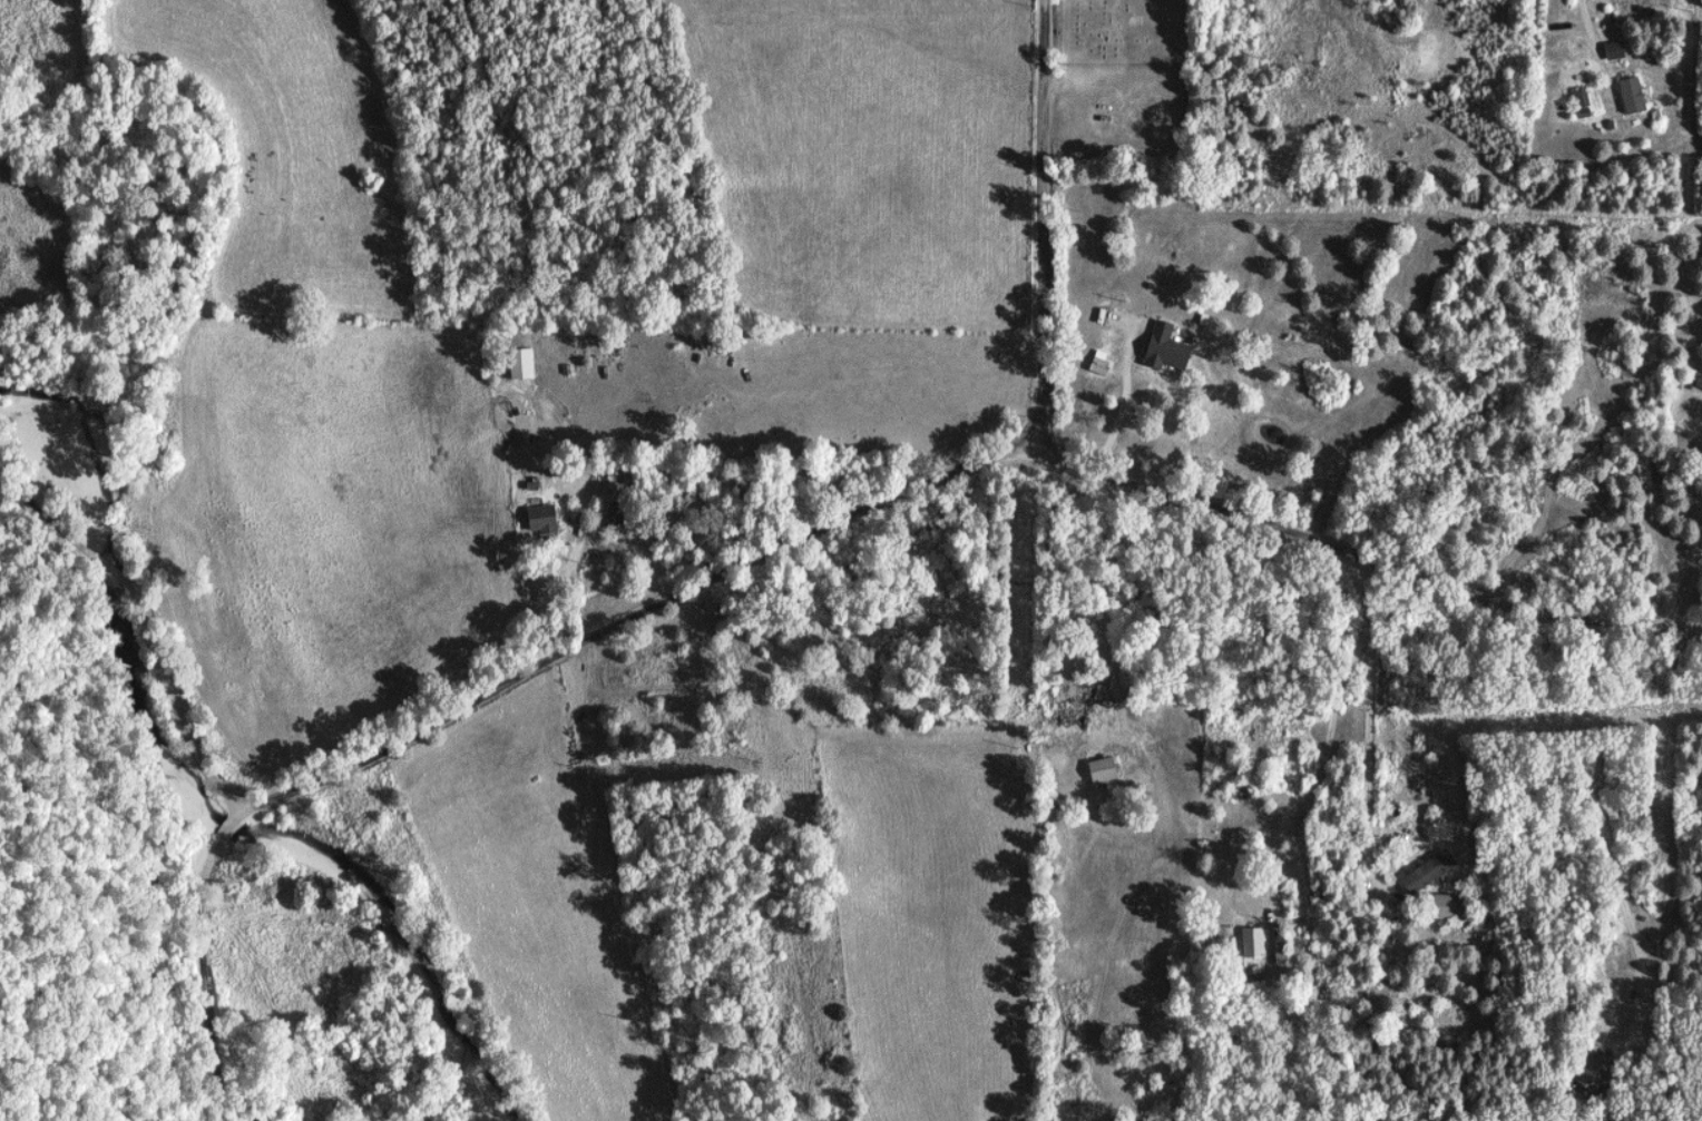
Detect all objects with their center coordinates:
road: (1339, 12)
road: (1632, 48)
park: (1125, 85)
building: (1631, 97)
building: (1579, 99)
road: (1038, 226)
building: (1162, 348)
road: (1129, 354)
building: (1098, 364)
building: (1699, 383)
road: (1359, 429)
building: (538, 519)
road: (1359, 554)
road: (583, 576)
road: (1682, 588)
road: (1106, 623)
road: (139, 667)
road: (483, 700)
road: (1364, 746)
building: (1099, 770)
road: (1304, 795)
road: (1603, 819)
building: (1426, 872)
building: (1439, 907)
building: (1251, 943)
building: (1589, 1074)

